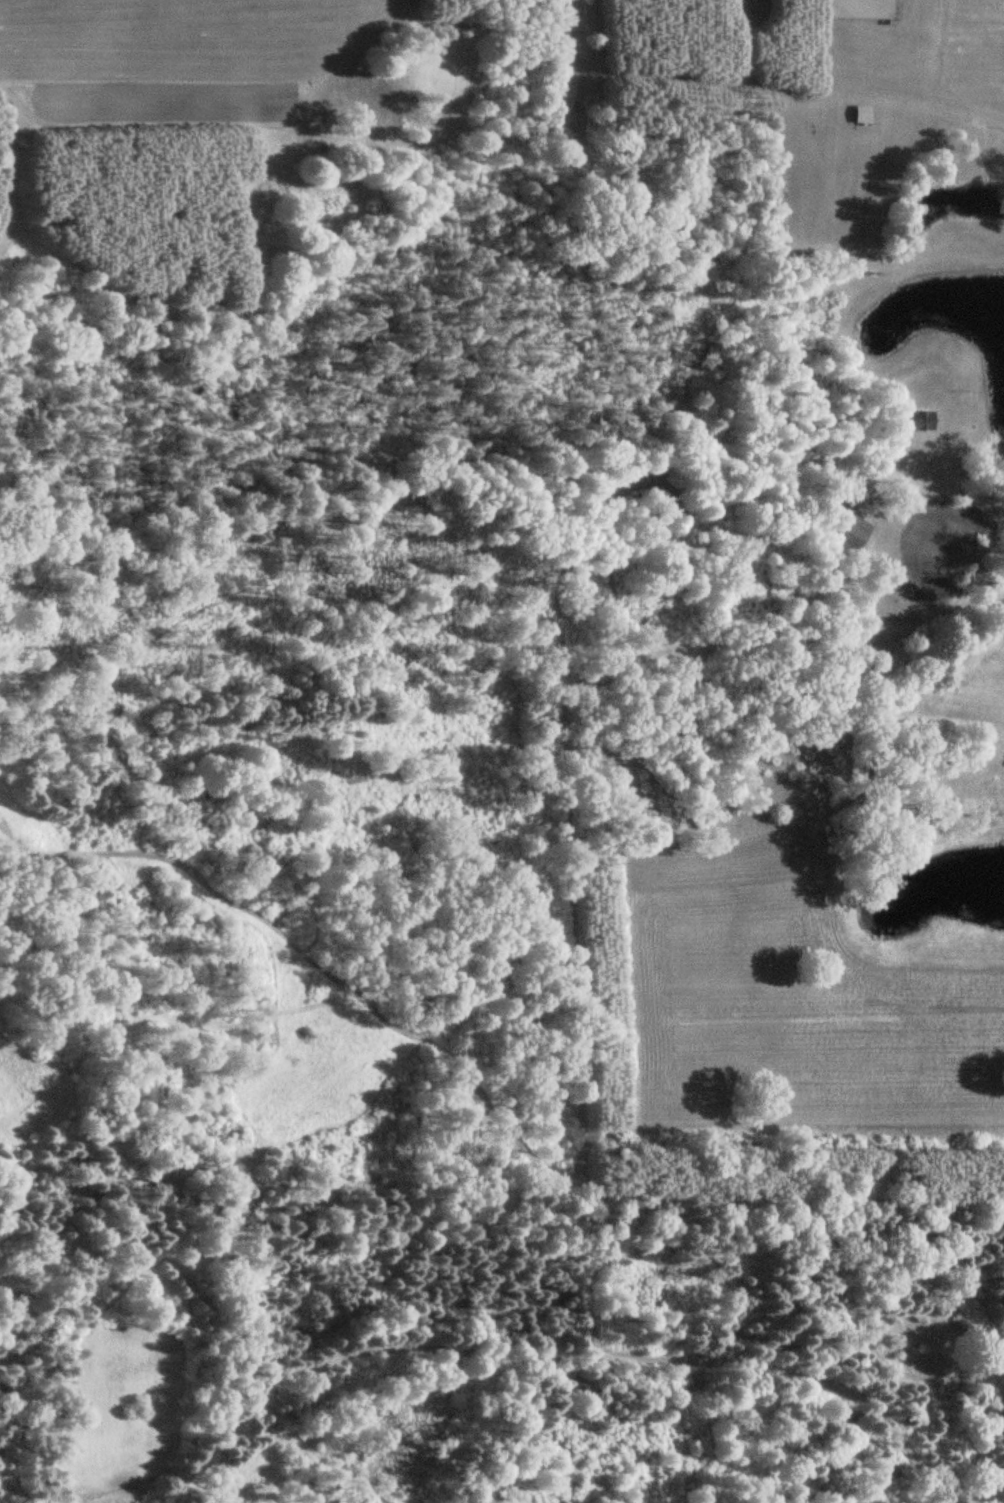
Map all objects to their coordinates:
building: (915, 422)
building: (849, 537)
road: (502, 1357)

